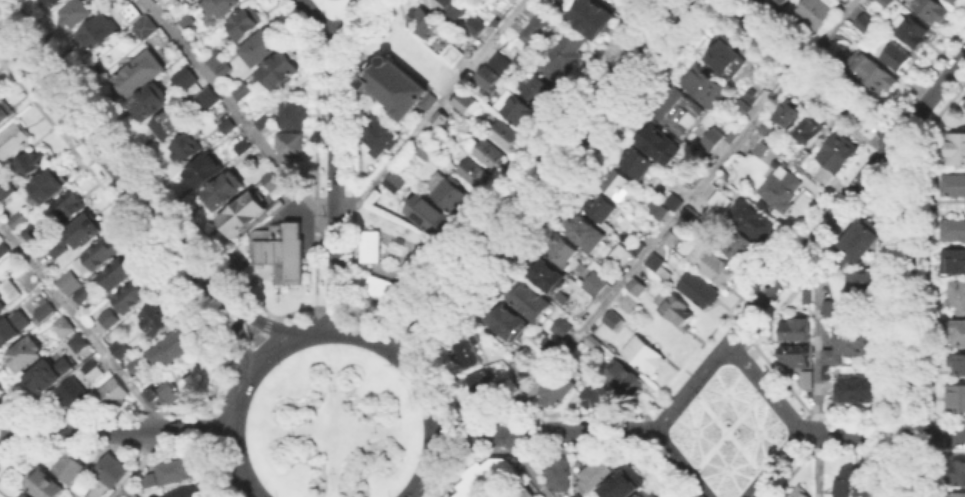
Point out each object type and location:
building: (509, 0)
building: (512, 0)
building: (196, 1)
building: (201, 1)
building: (951, 1)
building: (54, 2)
building: (955, 2)
building: (170, 3)
building: (886, 3)
building: (776, 4)
building: (220, 8)
building: (451, 9)
building: (934, 10)
building: (131, 12)
building: (75, 14)
building: (819, 14)
building: (590, 16)
road: (350, 18)
road: (315, 19)
building: (866, 24)
building: (189, 25)
building: (425, 25)
building: (241, 27)
building: (477, 27)
building: (146, 29)
building: (531, 29)
building: (912, 31)
building: (97, 34)
building: (265, 48)
building: (458, 52)
building: (561, 53)
building: (214, 57)
building: (895, 57)
building: (730, 59)
building: (503, 63)
building: (225, 70)
road: (810, 70)
building: (280, 71)
building: (872, 73)
building: (139, 74)
building: (489, 78)
building: (186, 80)
building: (395, 85)
building: (706, 87)
building: (537, 88)
building: (246, 91)
building: (206, 101)
building: (151, 103)
building: (468, 104)
building: (964, 104)
building: (5, 108)
building: (744, 108)
road: (235, 110)
building: (516, 110)
building: (675, 110)
road: (432, 111)
building: (789, 113)
building: (294, 115)
building: (442, 117)
building: (264, 123)
building: (169, 126)
building: (228, 126)
building: (767, 129)
building: (808, 133)
building: (506, 135)
building: (380, 136)
building: (710, 137)
building: (14, 139)
building: (438, 139)
building: (660, 144)
building: (292, 147)
building: (245, 148)
building: (956, 148)
building: (186, 149)
building: (763, 150)
building: (836, 150)
building: (491, 154)
building: (803, 156)
building: (30, 164)
building: (638, 164)
road: (118, 171)
building: (205, 171)
building: (476, 174)
road: (543, 175)
building: (270, 179)
road: (333, 182)
building: (952, 183)
building: (396, 184)
building: (618, 184)
building: (47, 187)
building: (6, 189)
building: (783, 189)
building: (227, 190)
building: (450, 191)
road: (847, 198)
building: (722, 202)
building: (665, 203)
building: (70, 207)
building: (600, 209)
building: (241, 213)
building: (688, 213)
road: (681, 214)
building: (428, 217)
building: (17, 218)
building: (754, 220)
building: (952, 228)
building: (30, 232)
building: (85, 232)
building: (584, 232)
building: (370, 237)
building: (671, 239)
building: (861, 241)
building: (638, 243)
building: (56, 247)
building: (3, 248)
building: (279, 249)
building: (742, 249)
building: (369, 252)
building: (564, 253)
building: (98, 255)
building: (420, 255)
building: (956, 261)
building: (658, 265)
building: (411, 267)
building: (713, 268)
building: (546, 273)
building: (117, 275)
building: (70, 283)
building: (373, 283)
building: (596, 284)
building: (860, 284)
road: (908, 285)
building: (638, 287)
building: (389, 289)
building: (700, 291)
building: (85, 292)
building: (8, 295)
building: (134, 296)
building: (808, 297)
building: (529, 299)
building: (957, 300)
building: (586, 304)
road: (337, 308)
building: (676, 310)
building: (45, 311)
building: (151, 311)
building: (829, 311)
road: (298, 312)
road: (372, 316)
building: (110, 320)
building: (160, 321)
building: (614, 321)
building: (511, 323)
road: (81, 325)
road: (268, 325)
building: (66, 328)
building: (563, 328)
building: (797, 330)
building: (9, 332)
building: (960, 332)
road: (409, 333)
road: (256, 337)
building: (548, 342)
building: (80, 343)
building: (172, 343)
building: (853, 343)
road: (241, 344)
building: (598, 344)
building: (118, 347)
building: (464, 347)
road: (268, 350)
building: (28, 353)
building: (646, 356)
building: (796, 356)
building: (68, 364)
building: (134, 365)
building: (960, 365)
road: (411, 366)
building: (89, 367)
building: (518, 368)
road: (818, 371)
building: (828, 373)
building: (98, 374)
building: (44, 376)
road: (443, 378)
building: (626, 378)
building: (809, 381)
road: (219, 382)
building: (481, 386)
road: (691, 387)
road: (764, 388)
building: (858, 390)
building: (560, 391)
building: (72, 393)
building: (116, 393)
building: (166, 397)
building: (599, 398)
building: (955, 399)
road: (5, 421)
park: (331, 424)
road: (119, 430)
road: (544, 431)
road: (212, 432)
road: (451, 433)
road: (854, 434)
road: (936, 435)
road: (5, 438)
road: (229, 439)
road: (681, 464)
road: (775, 465)
road: (138, 466)
building: (505, 466)
road: (527, 466)
road: (908, 466)
building: (71, 467)
building: (176, 469)
building: (111, 470)
building: (957, 471)
road: (219, 472)
road: (451, 472)
building: (495, 472)
building: (559, 477)
building: (596, 477)
building: (480, 479)
building: (149, 480)
building: (854, 484)
building: (48, 485)
building: (626, 485)
building: (83, 487)
road: (413, 489)
road: (420, 489)
building: (465, 489)
building: (186, 491)
building: (799, 492)
building: (648, 494)
building: (957, 494)
building: (24, 495)

